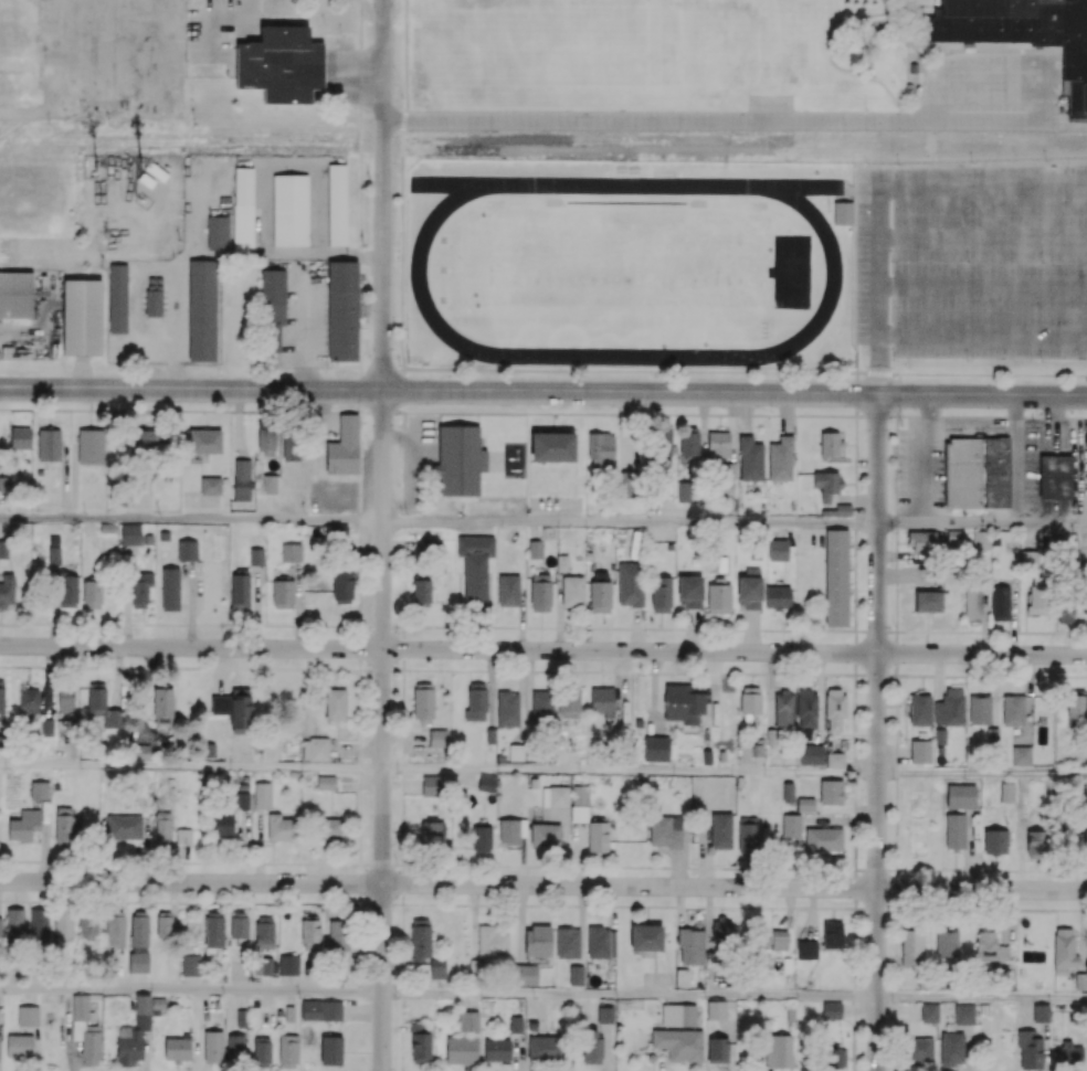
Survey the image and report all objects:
building: (1022, 32)
road: (978, 63)
building: (284, 67)
road: (990, 94)
parking lot: (992, 94)
road: (1047, 108)
road: (653, 123)
road: (985, 124)
road: (1067, 124)
road: (983, 188)
road: (381, 194)
road: (626, 205)
building: (845, 215)
road: (45, 263)
parking lot: (977, 265)
track: (418, 273)
park: (626, 276)
road: (878, 290)
street lamp: (891, 360)
street lamp: (967, 361)
street lamp: (1039, 362)
road: (542, 391)
street lamp: (899, 413)
street lamp: (1036, 415)
street lamp: (1053, 450)
road: (925, 460)
road: (1017, 460)
road: (191, 520)
road: (630, 524)
road: (981, 527)
road: (543, 650)
road: (383, 731)
road: (877, 732)
road: (191, 765)
road: (630, 770)
road: (982, 773)
road: (543, 886)
road: (191, 988)
road: (630, 995)
road: (982, 999)

